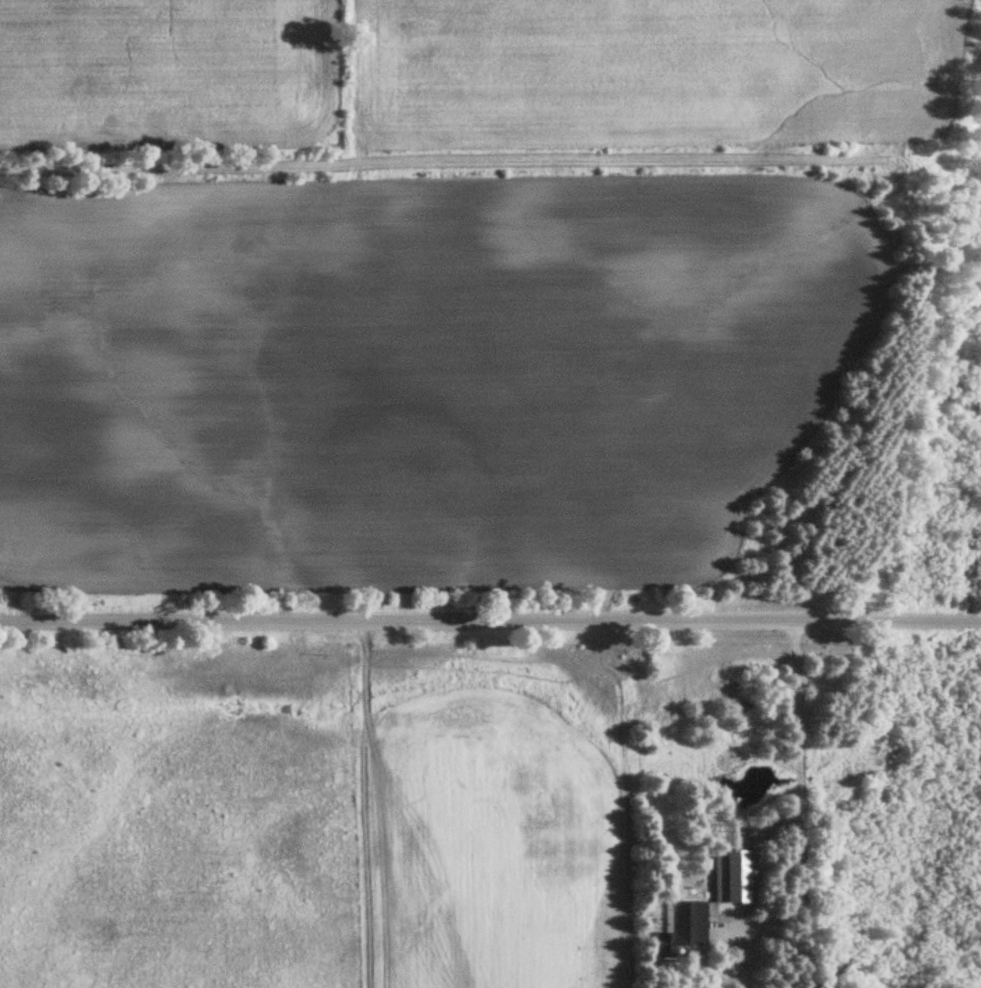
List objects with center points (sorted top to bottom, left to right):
road: (490, 621)
building: (679, 930)

